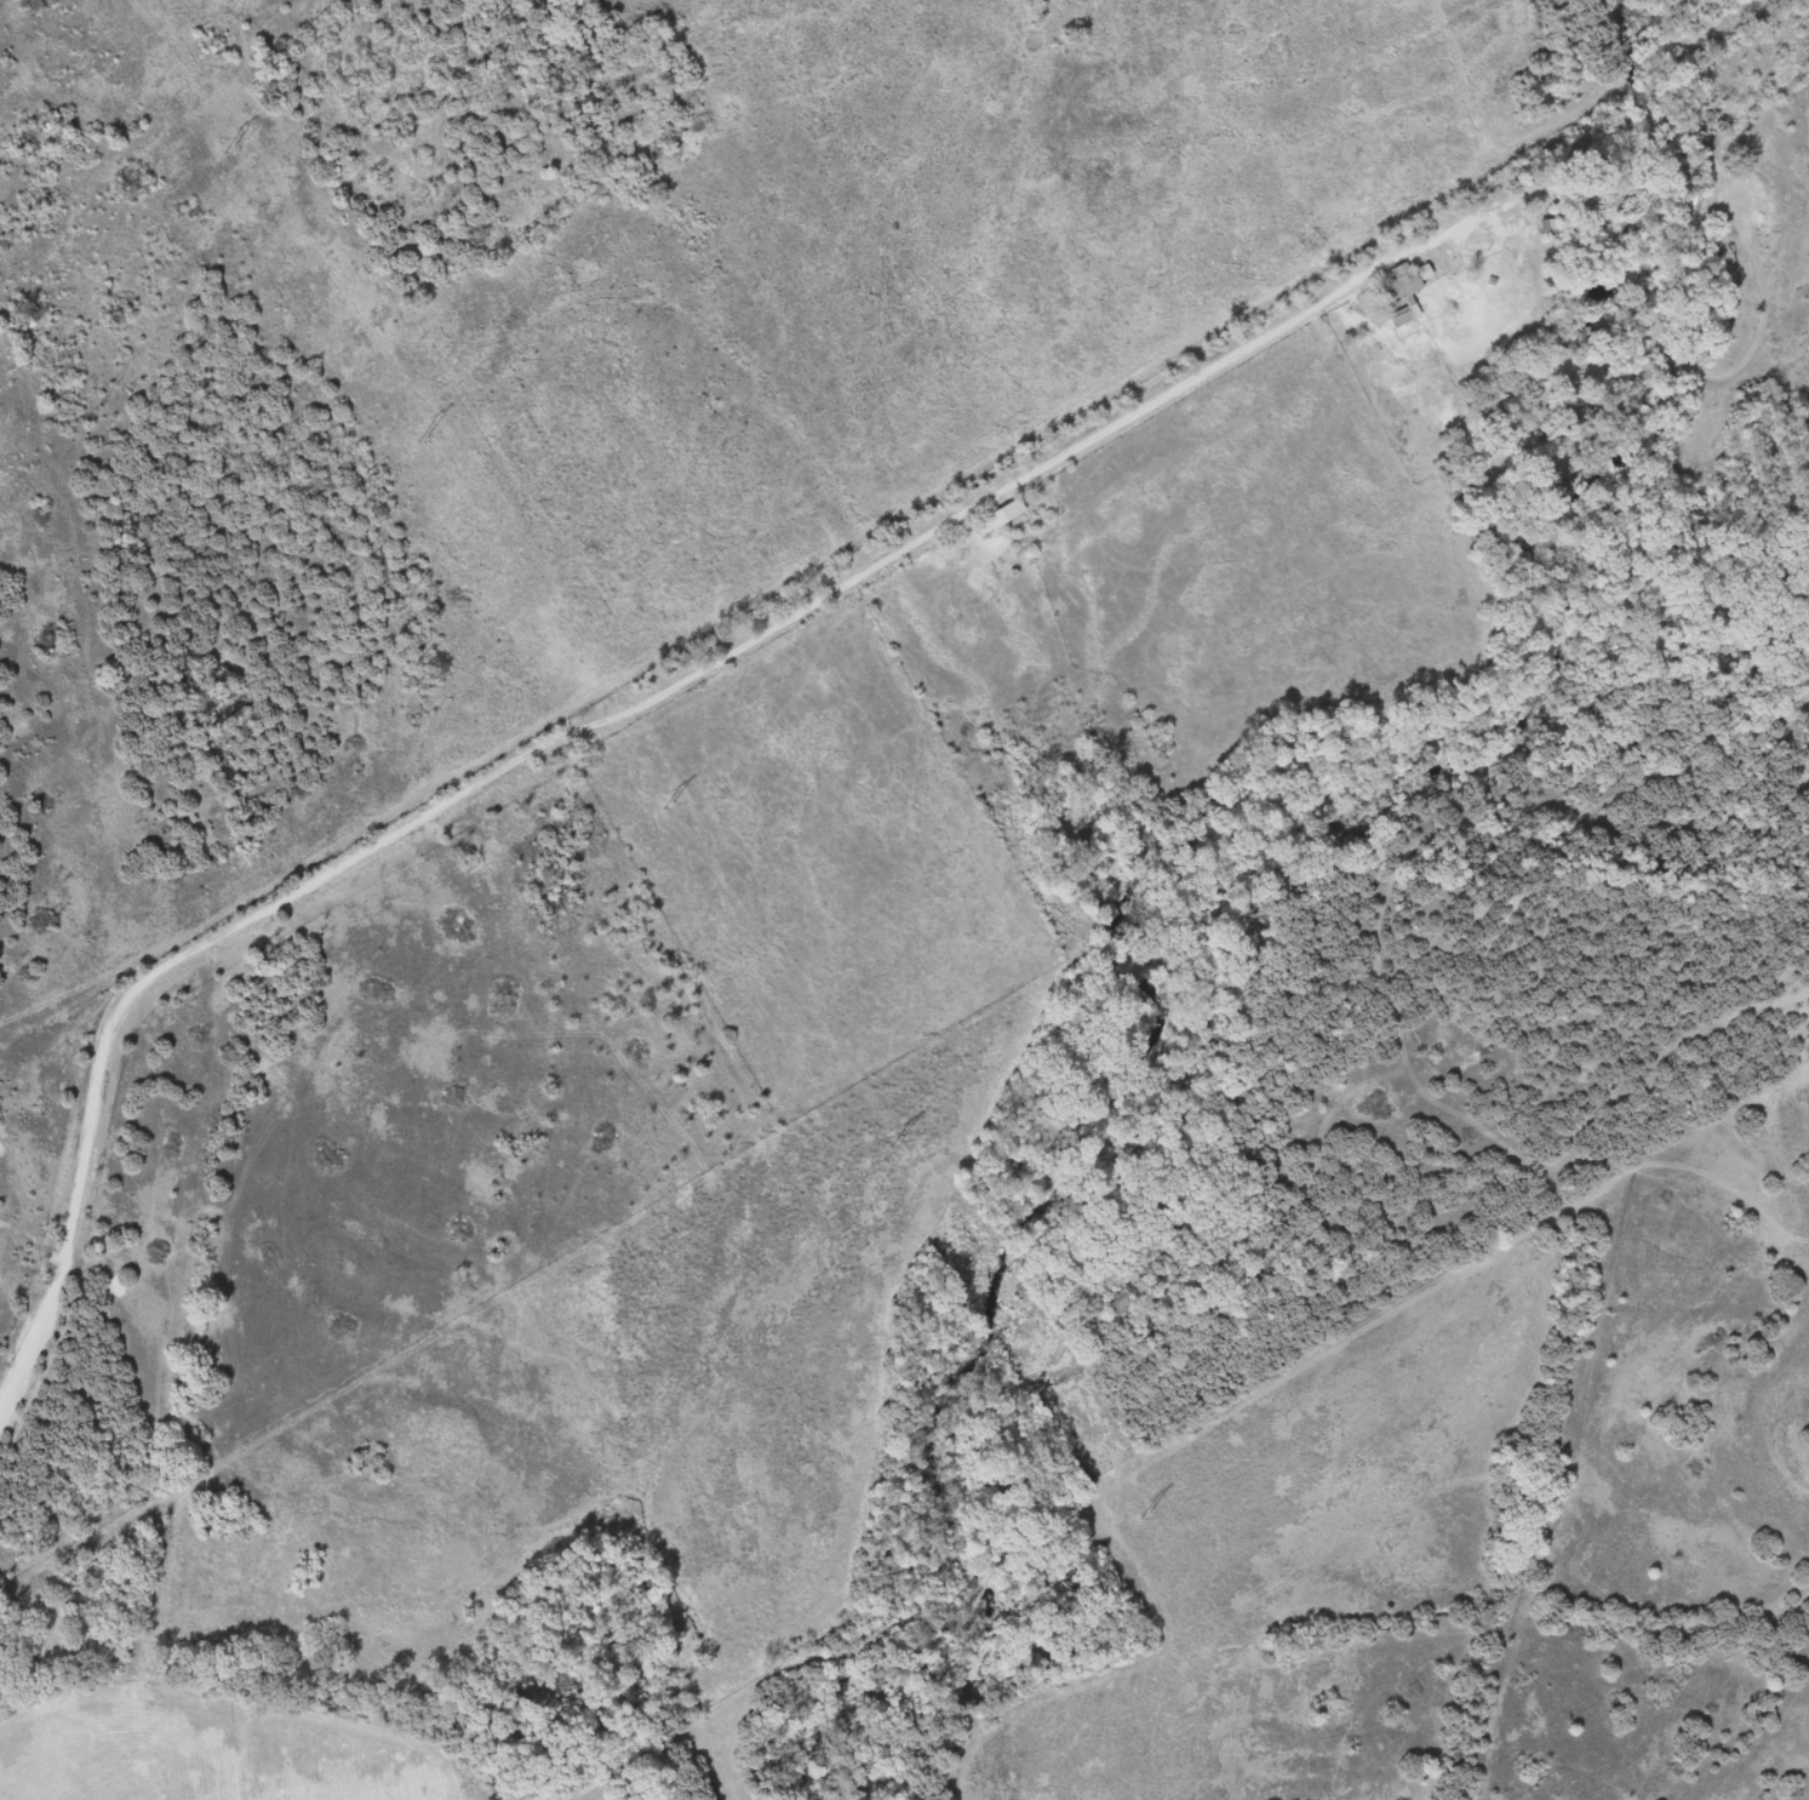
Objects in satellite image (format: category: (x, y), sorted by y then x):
building: (1708, 189)
building: (1393, 285)
building: (1392, 319)
building: (992, 518)
road: (911, 539)
road: (30, 1240)
road: (29, 1333)

